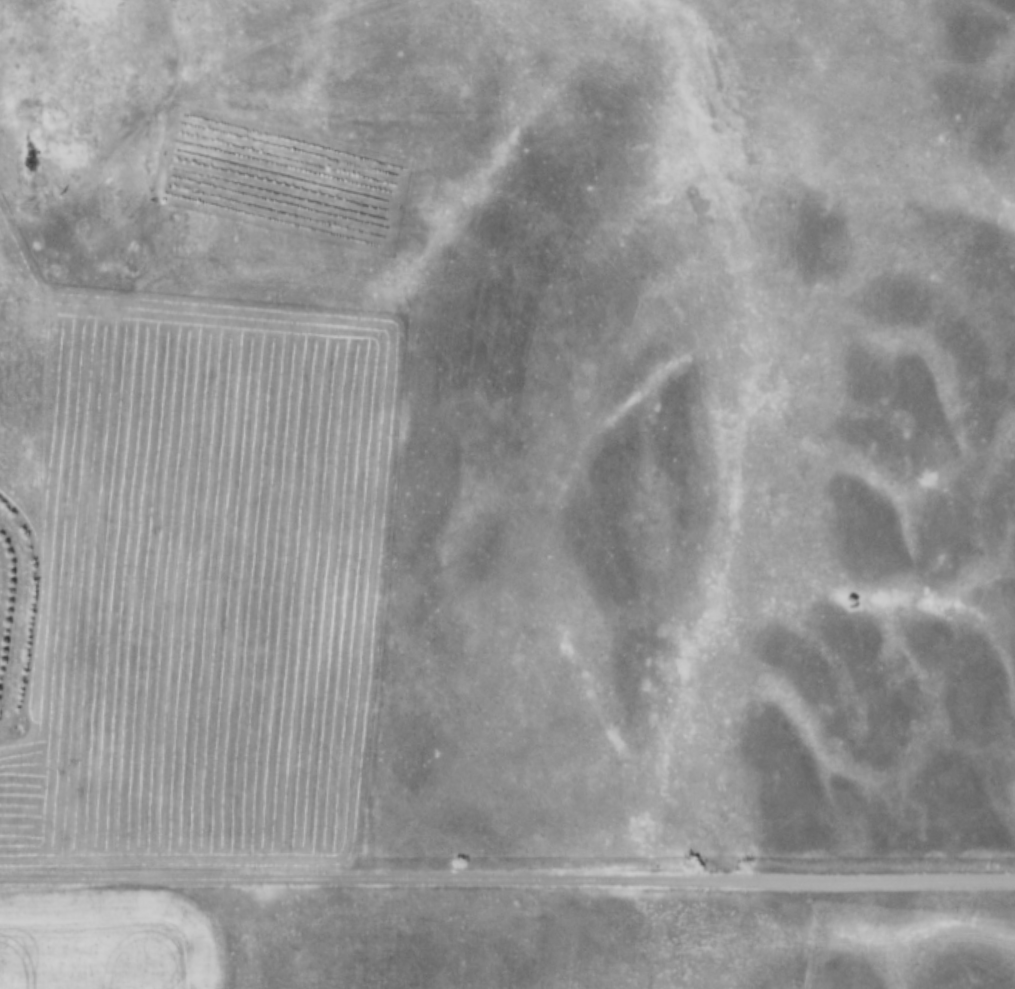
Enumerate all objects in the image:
road: (507, 880)

